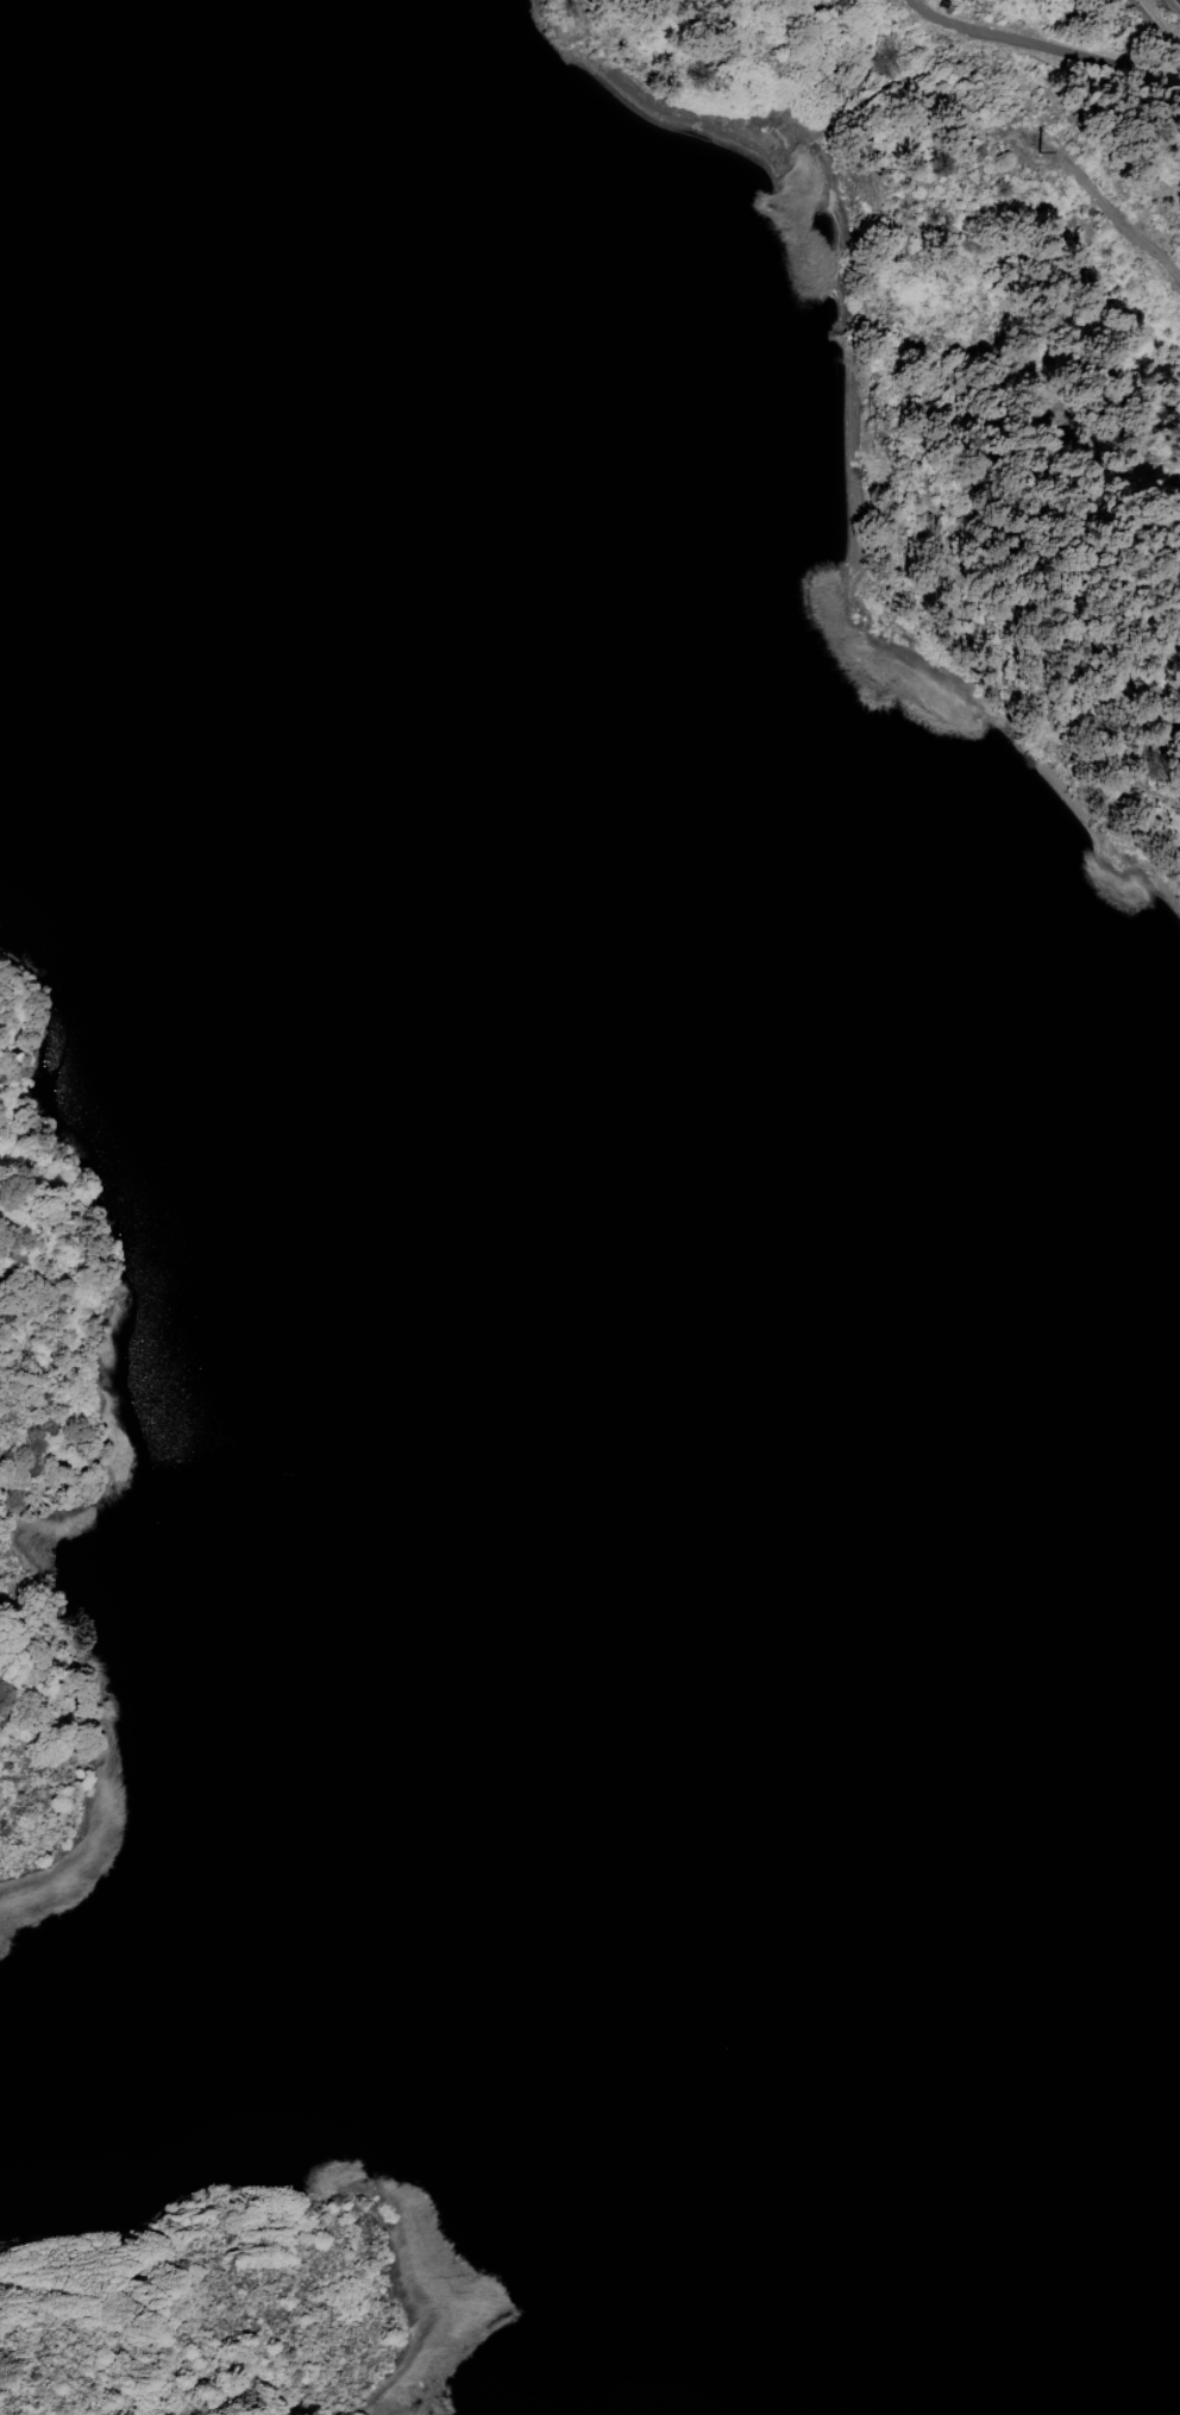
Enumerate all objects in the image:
road: (1179, 0)
road: (1155, 27)
road: (1044, 46)
power tower: (1036, 152)
road: (1115, 225)

